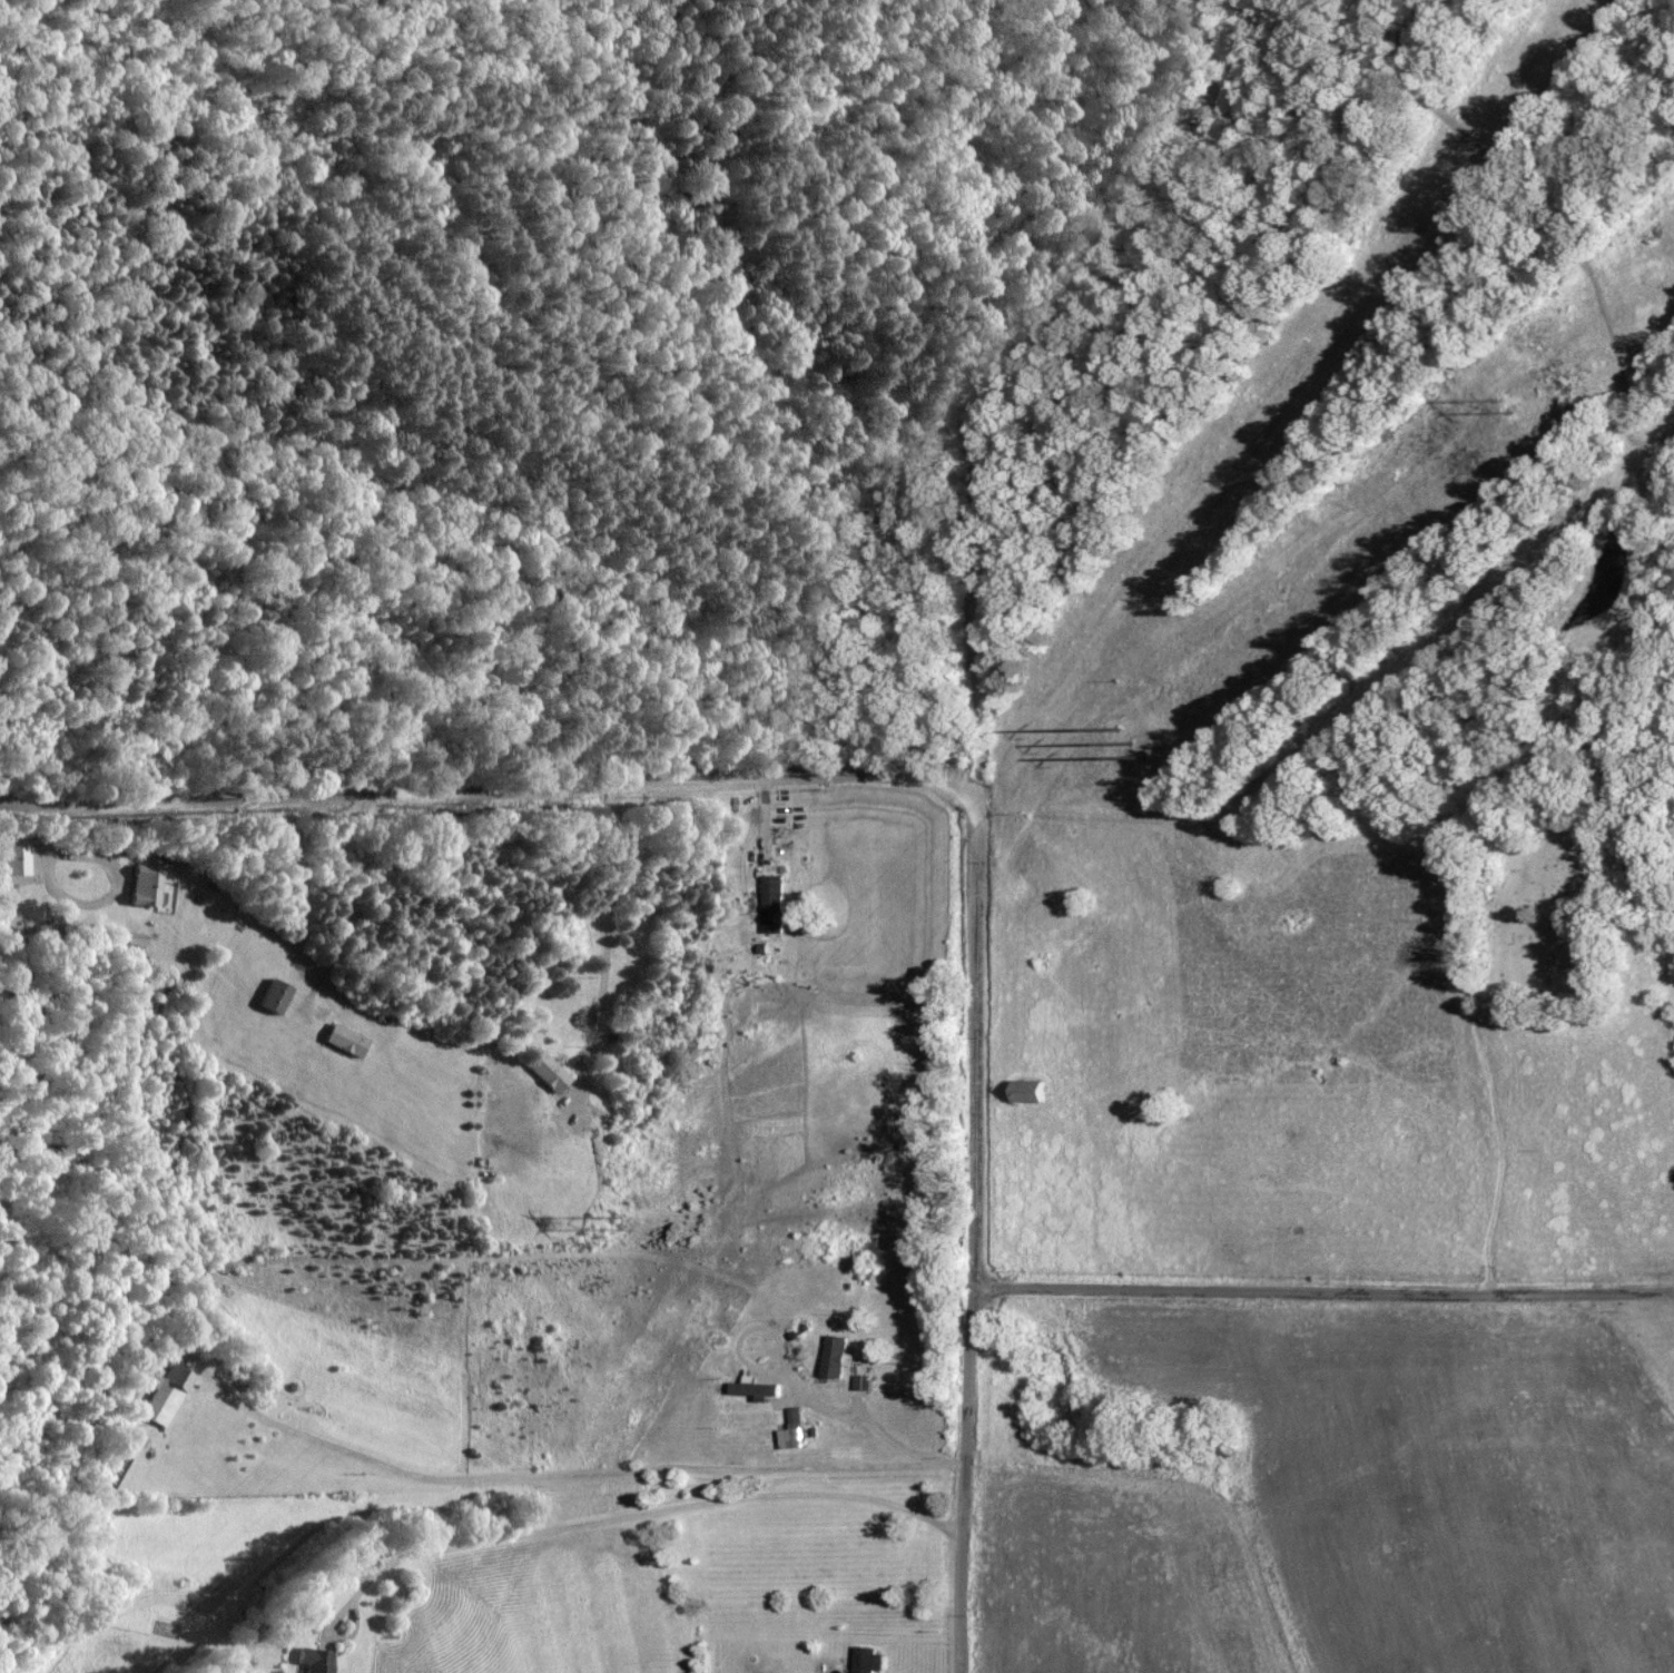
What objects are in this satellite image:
road: (894, 385)
power tower: (1510, 405)
power tower: (1105, 766)
road: (443, 790)
building: (146, 885)
building: (776, 902)
building: (276, 995)
building: (346, 1039)
building: (549, 1070)
building: (1034, 1091)
road: (1464, 1109)
road: (974, 1190)
power tower: (599, 1222)
road: (1323, 1291)
building: (838, 1355)
building: (755, 1385)
building: (152, 1398)
building: (796, 1429)
road: (554, 1476)
road: (631, 1515)
building: (868, 1655)
building: (318, 1661)

